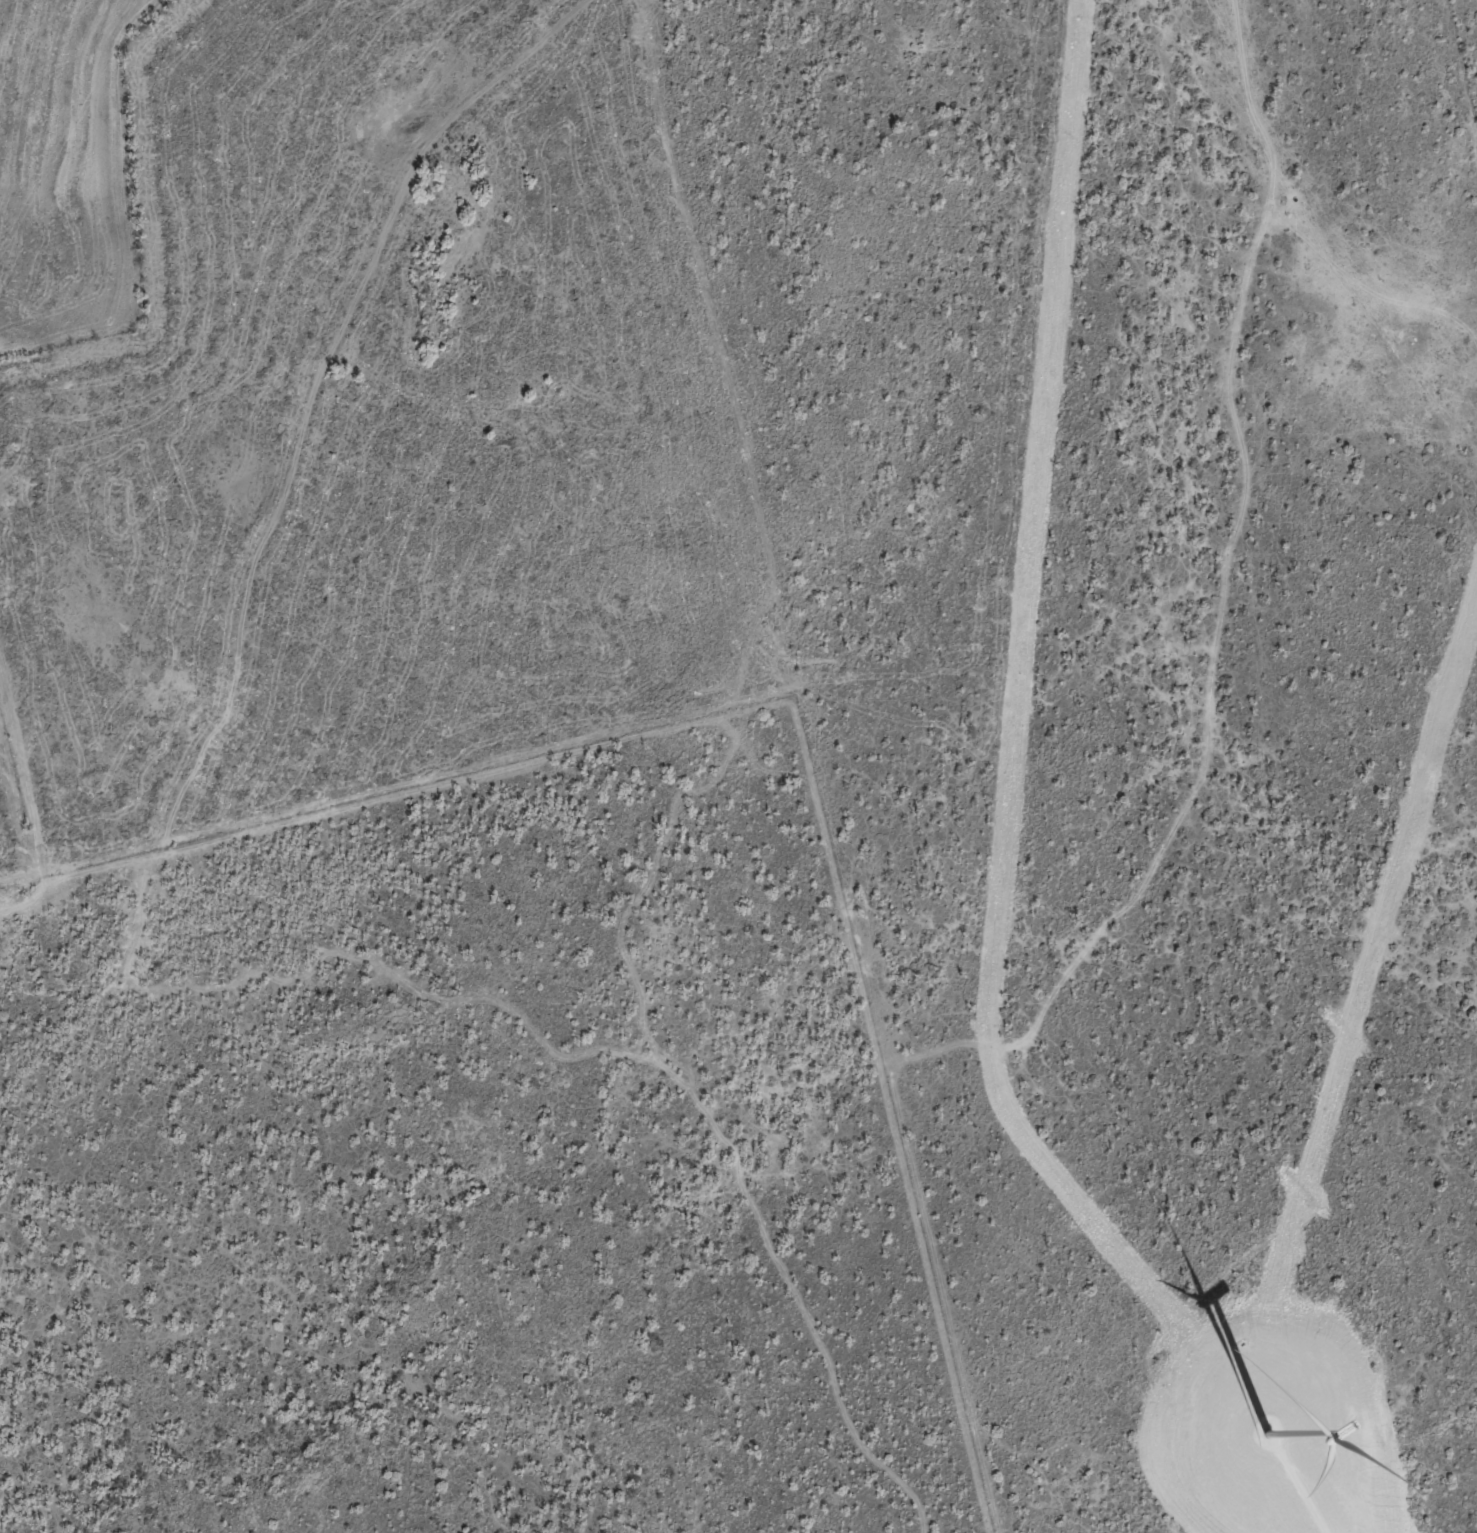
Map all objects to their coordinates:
wind turbine: (1272, 1435)
road: (1306, 1490)

